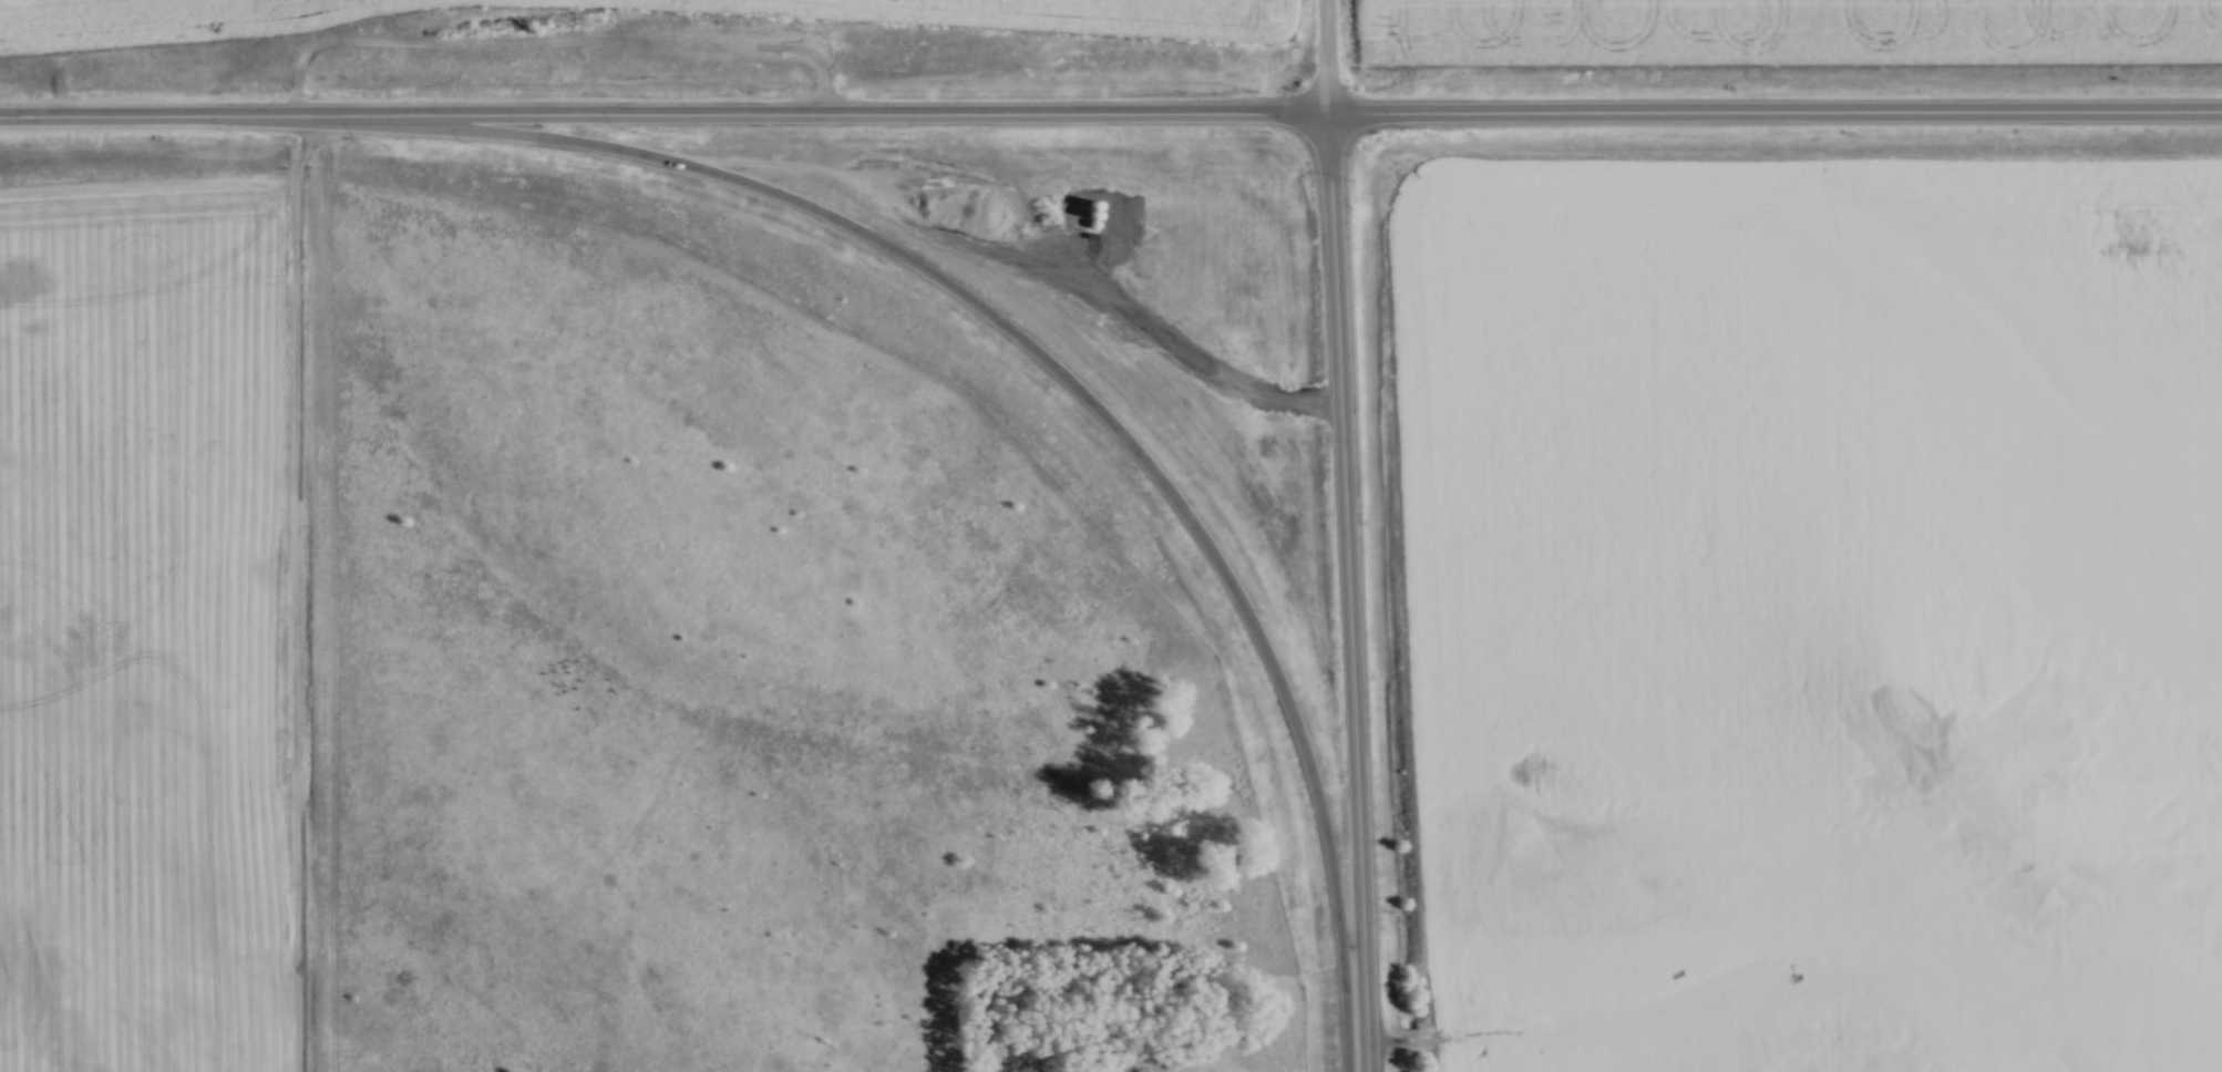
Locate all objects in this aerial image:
road: (1327, 58)
road: (1110, 116)
road: (1074, 390)
road: (1349, 594)
road: (291, 595)

